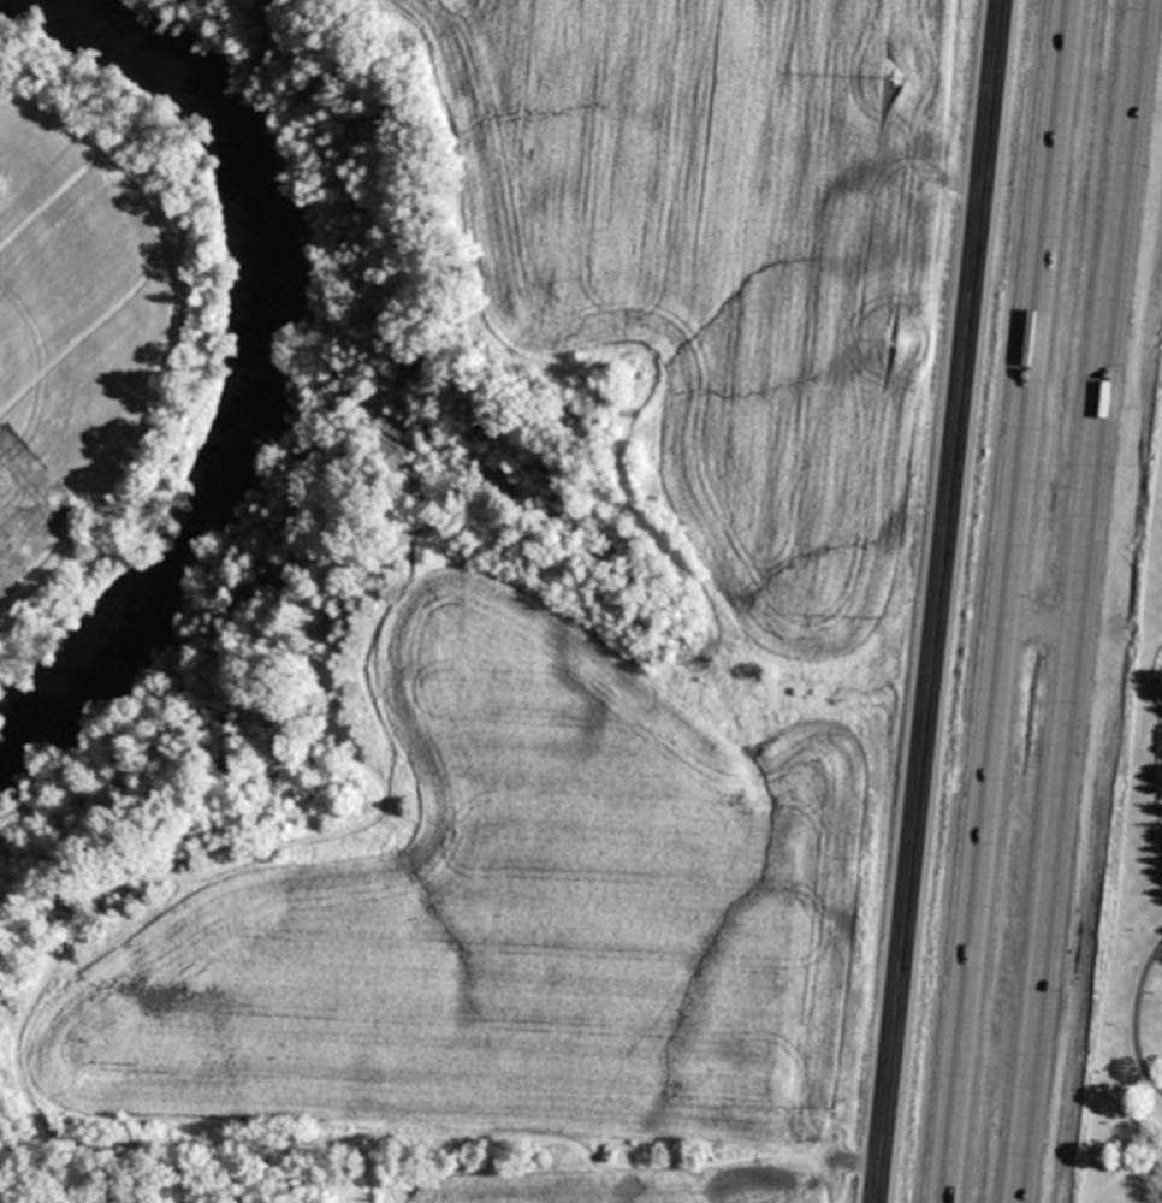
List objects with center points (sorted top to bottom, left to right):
park: (91, 326)
river: (251, 365)
road: (1008, 600)
road: (938, 601)
road: (1090, 601)
crop: (610, 659)
road: (1132, 1017)

